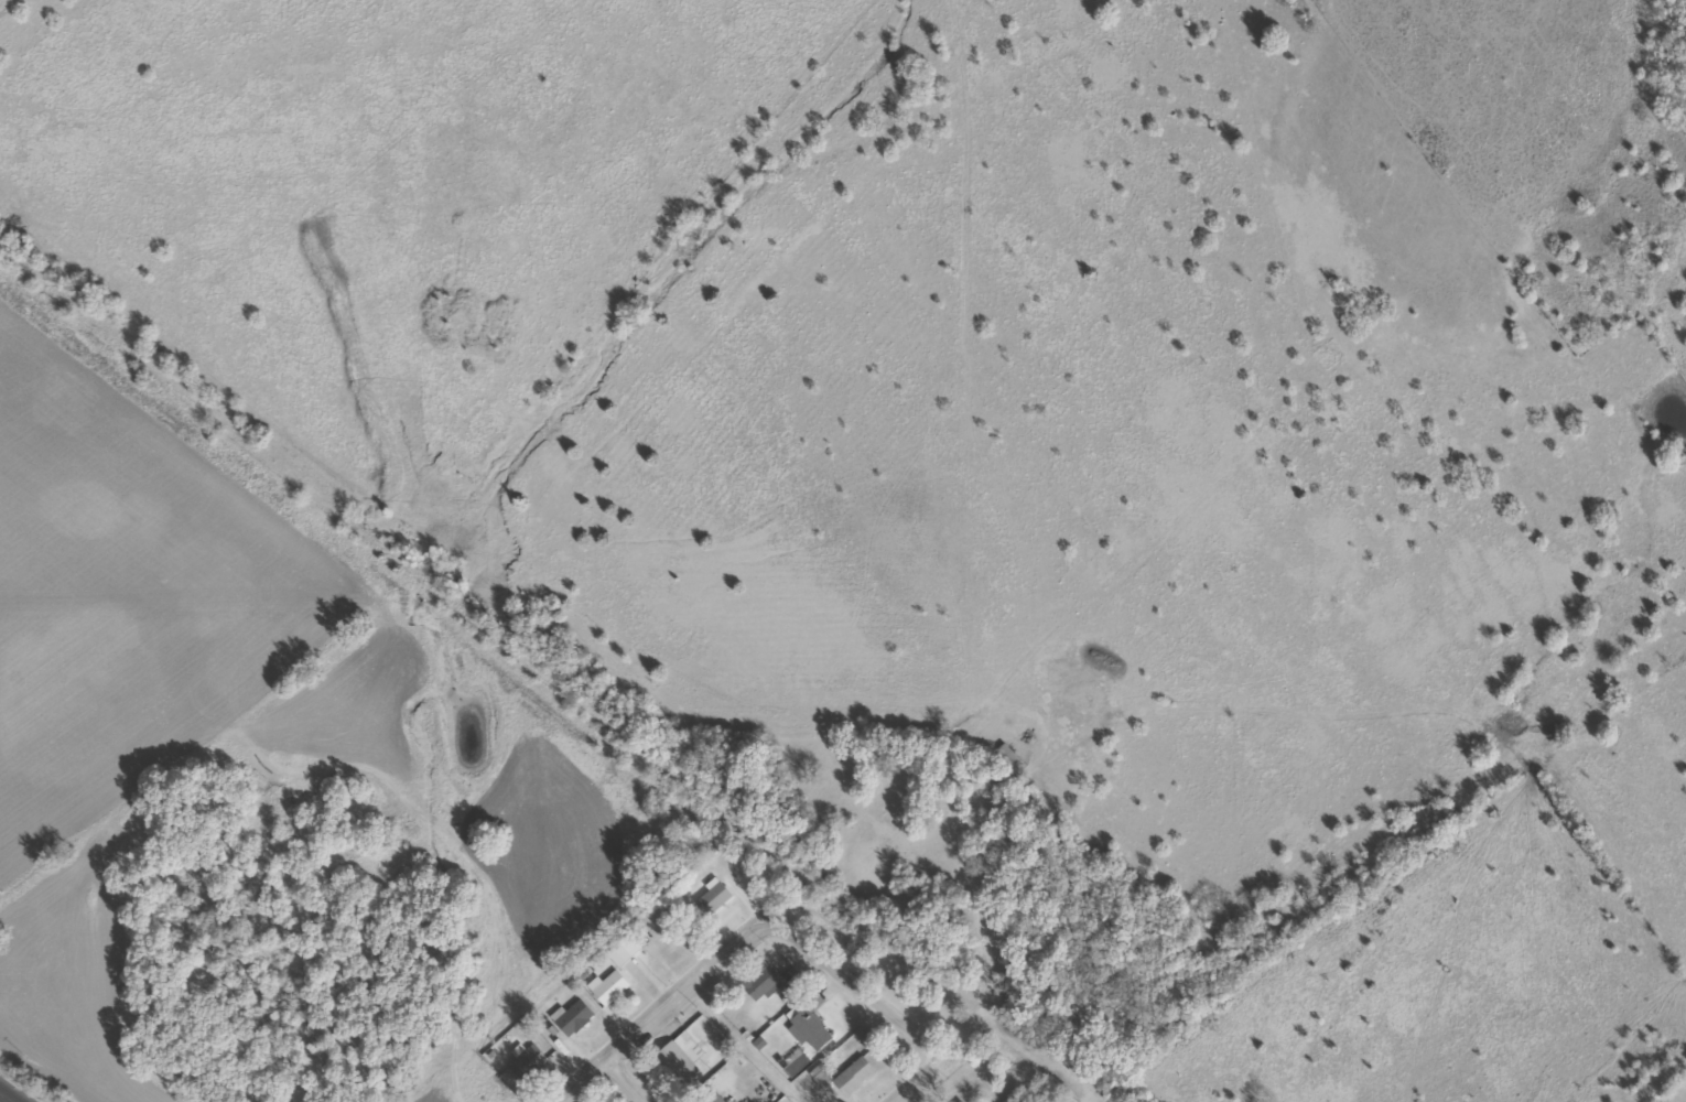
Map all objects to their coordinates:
railway: (547, 683)
building: (1003, 754)
building: (696, 883)
building: (711, 900)
road: (795, 943)
building: (756, 980)
building: (607, 988)
building: (571, 1019)
building: (808, 1028)
building: (678, 1059)
building: (526, 1065)
building: (851, 1078)
road: (583, 1080)
road: (626, 1080)
building: (711, 1098)
building: (957, 1101)

